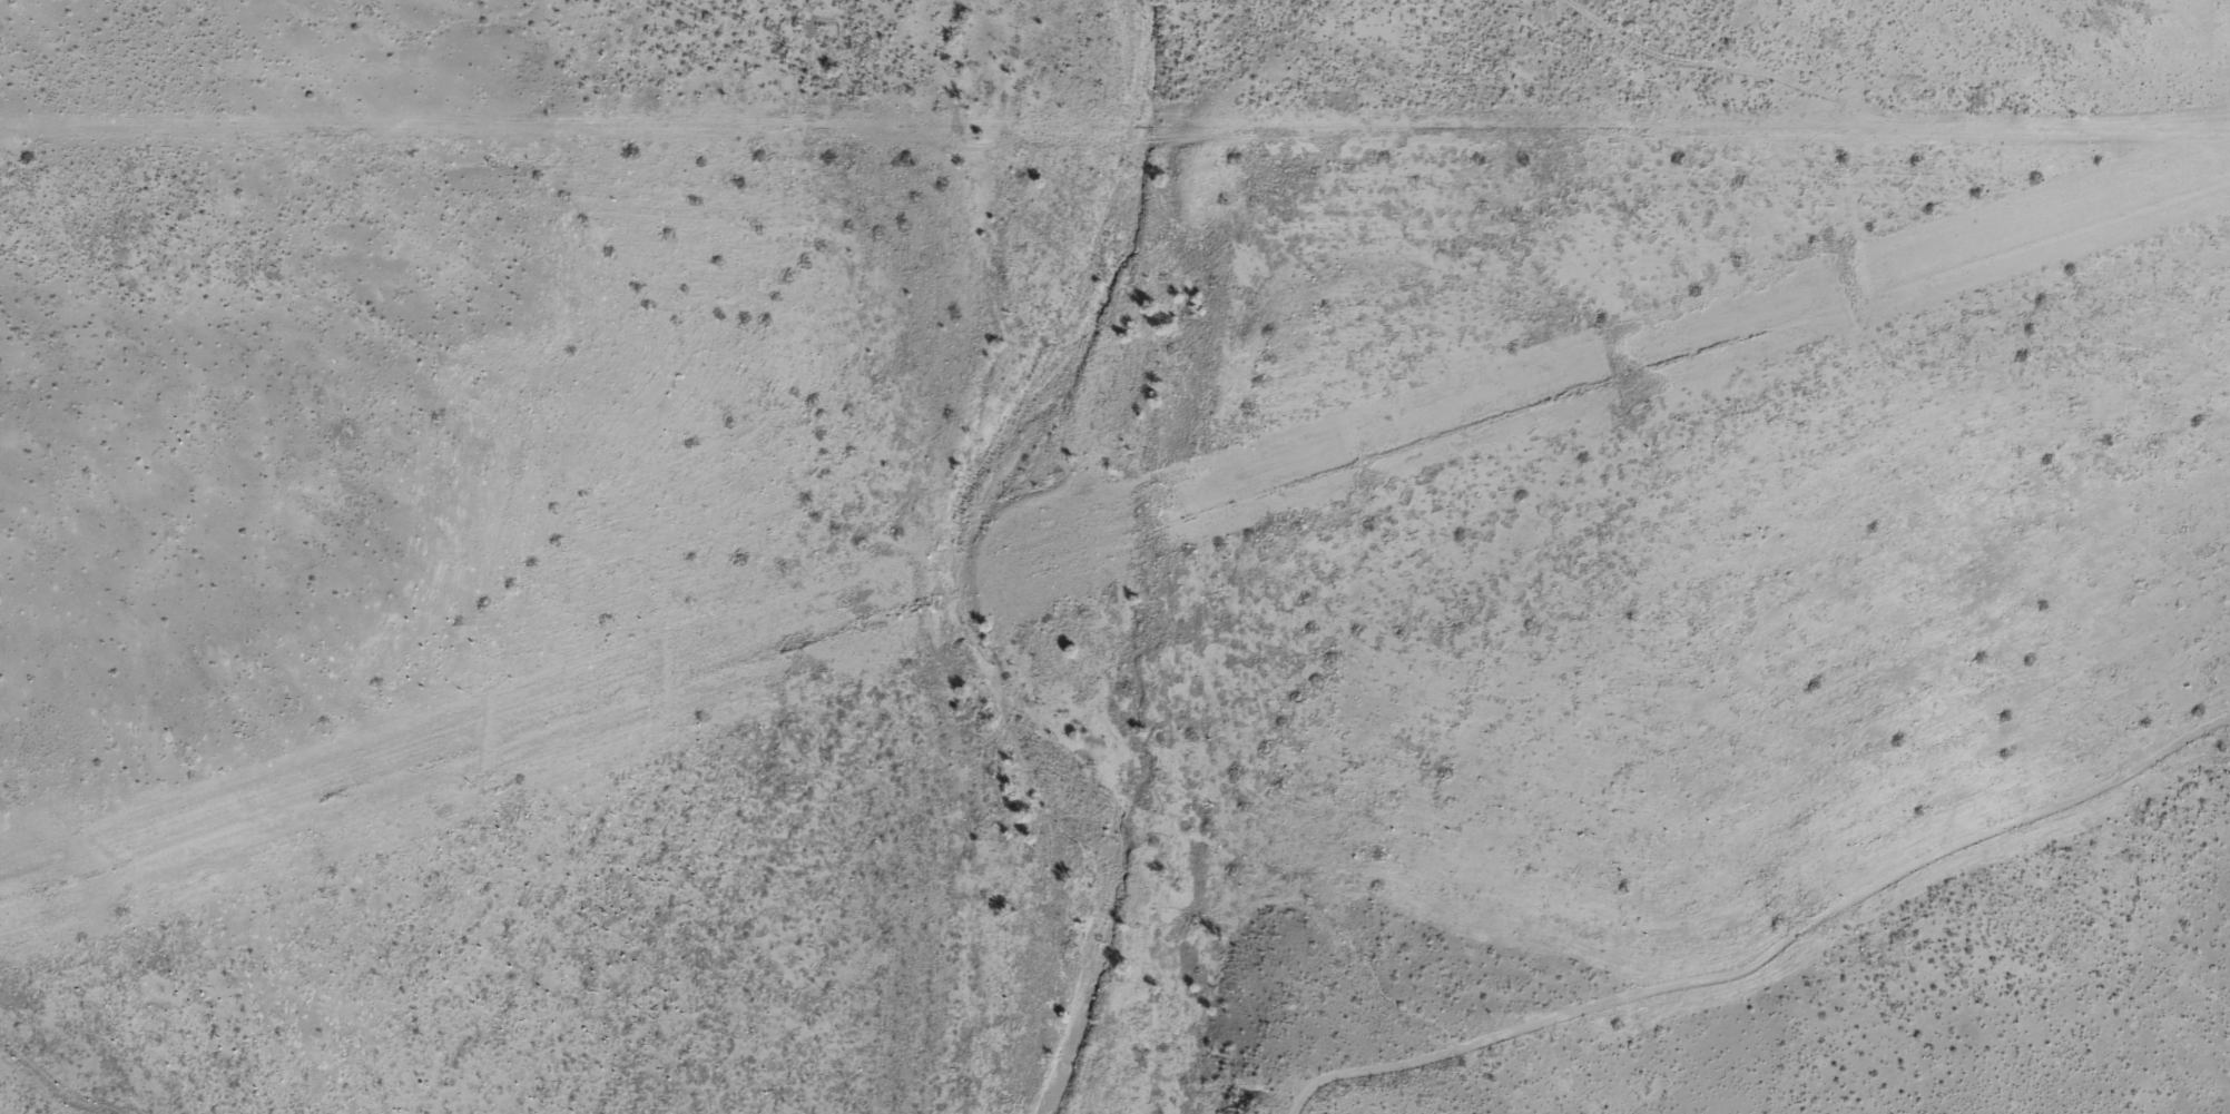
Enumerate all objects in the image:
road: (1544, 23)
road: (1810, 962)

